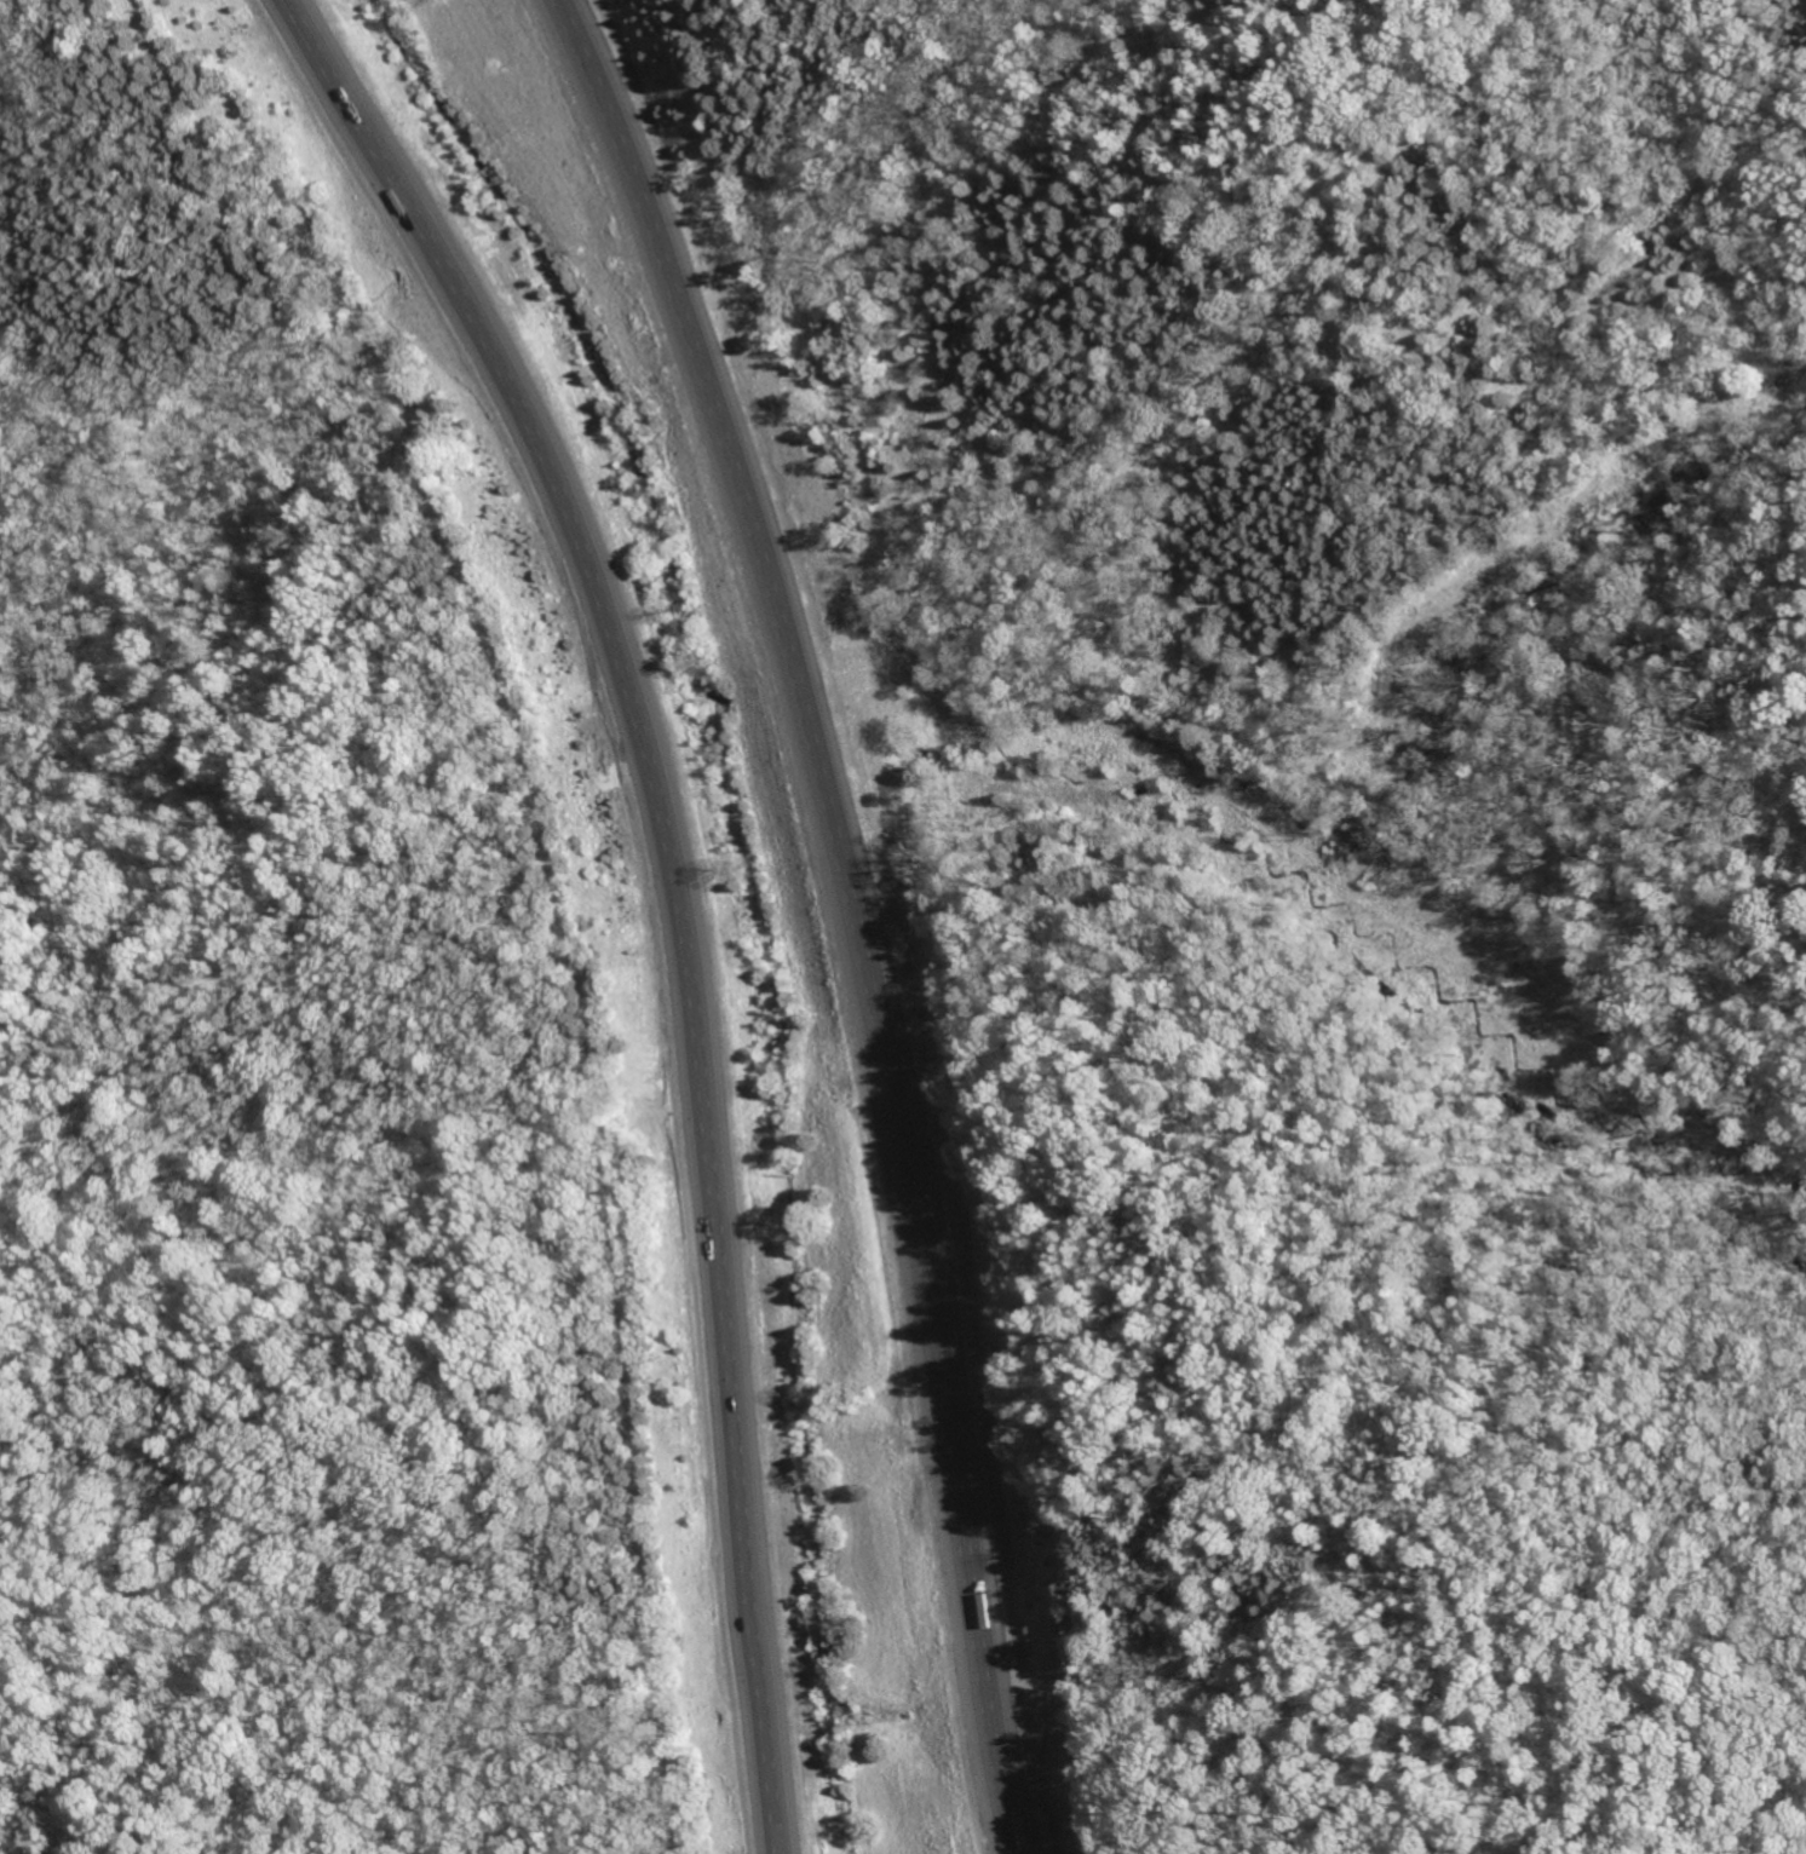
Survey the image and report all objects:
road: (667, 885)
road: (864, 909)

